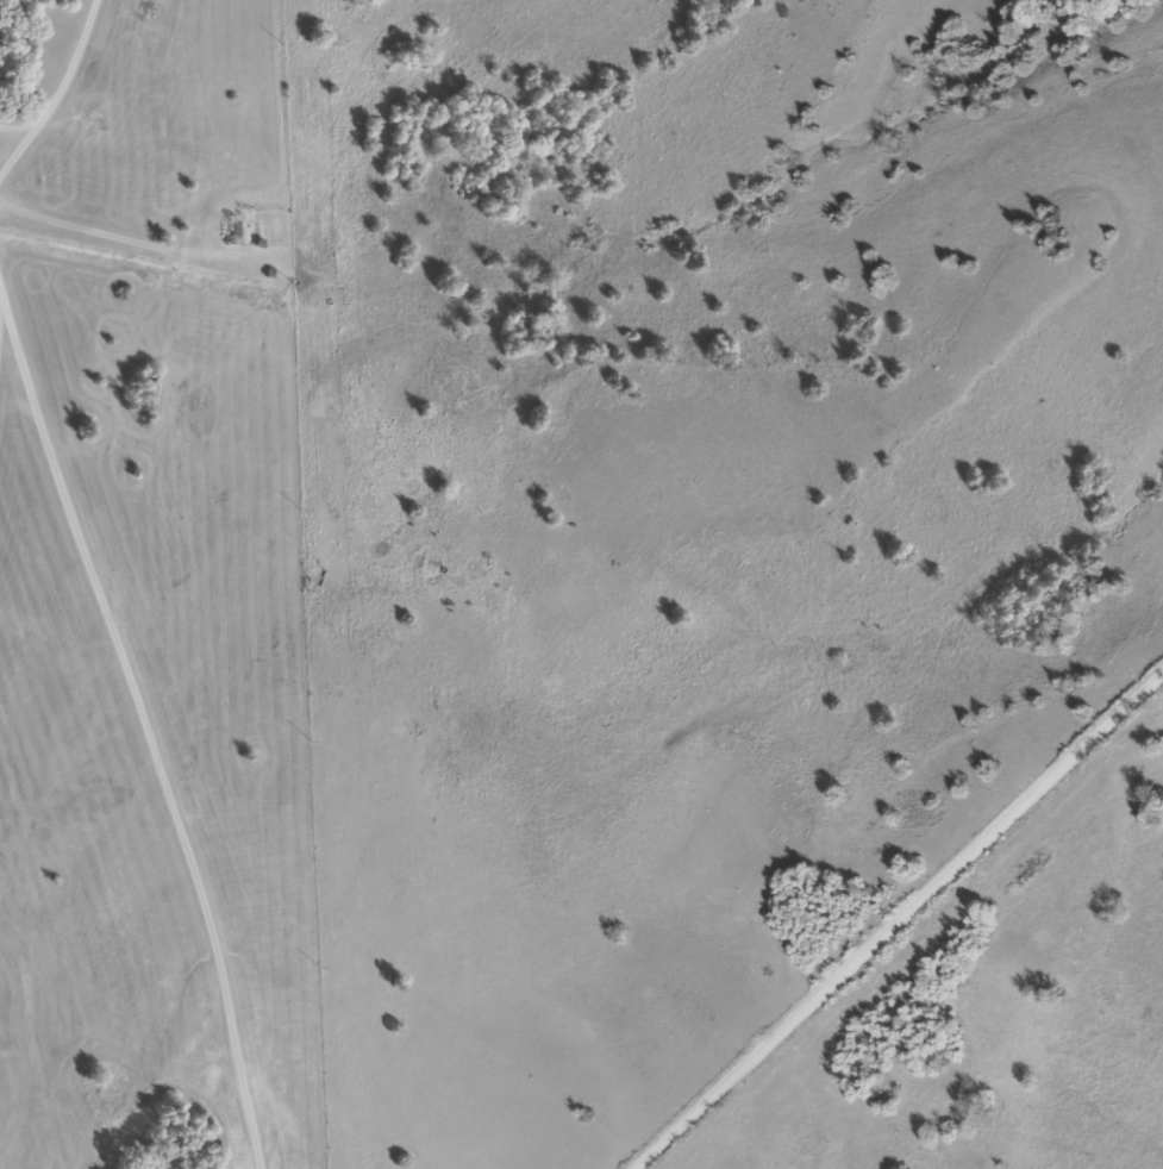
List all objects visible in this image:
road: (56, 92)
road: (139, 724)
road: (893, 917)
building: (98, 1109)

